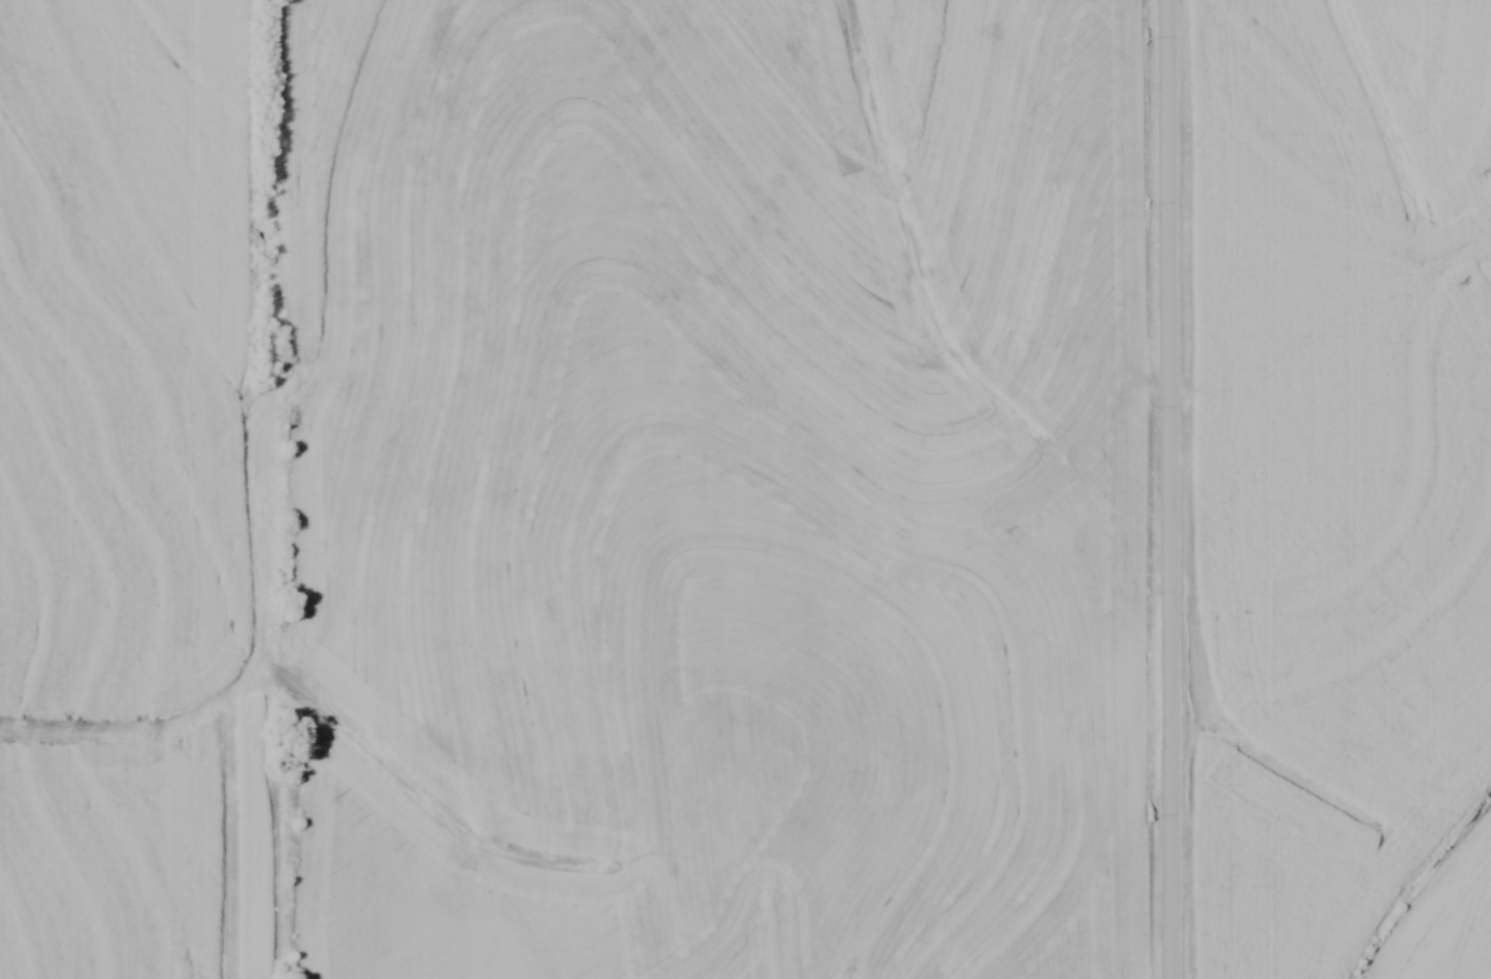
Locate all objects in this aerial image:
road: (1171, 489)

